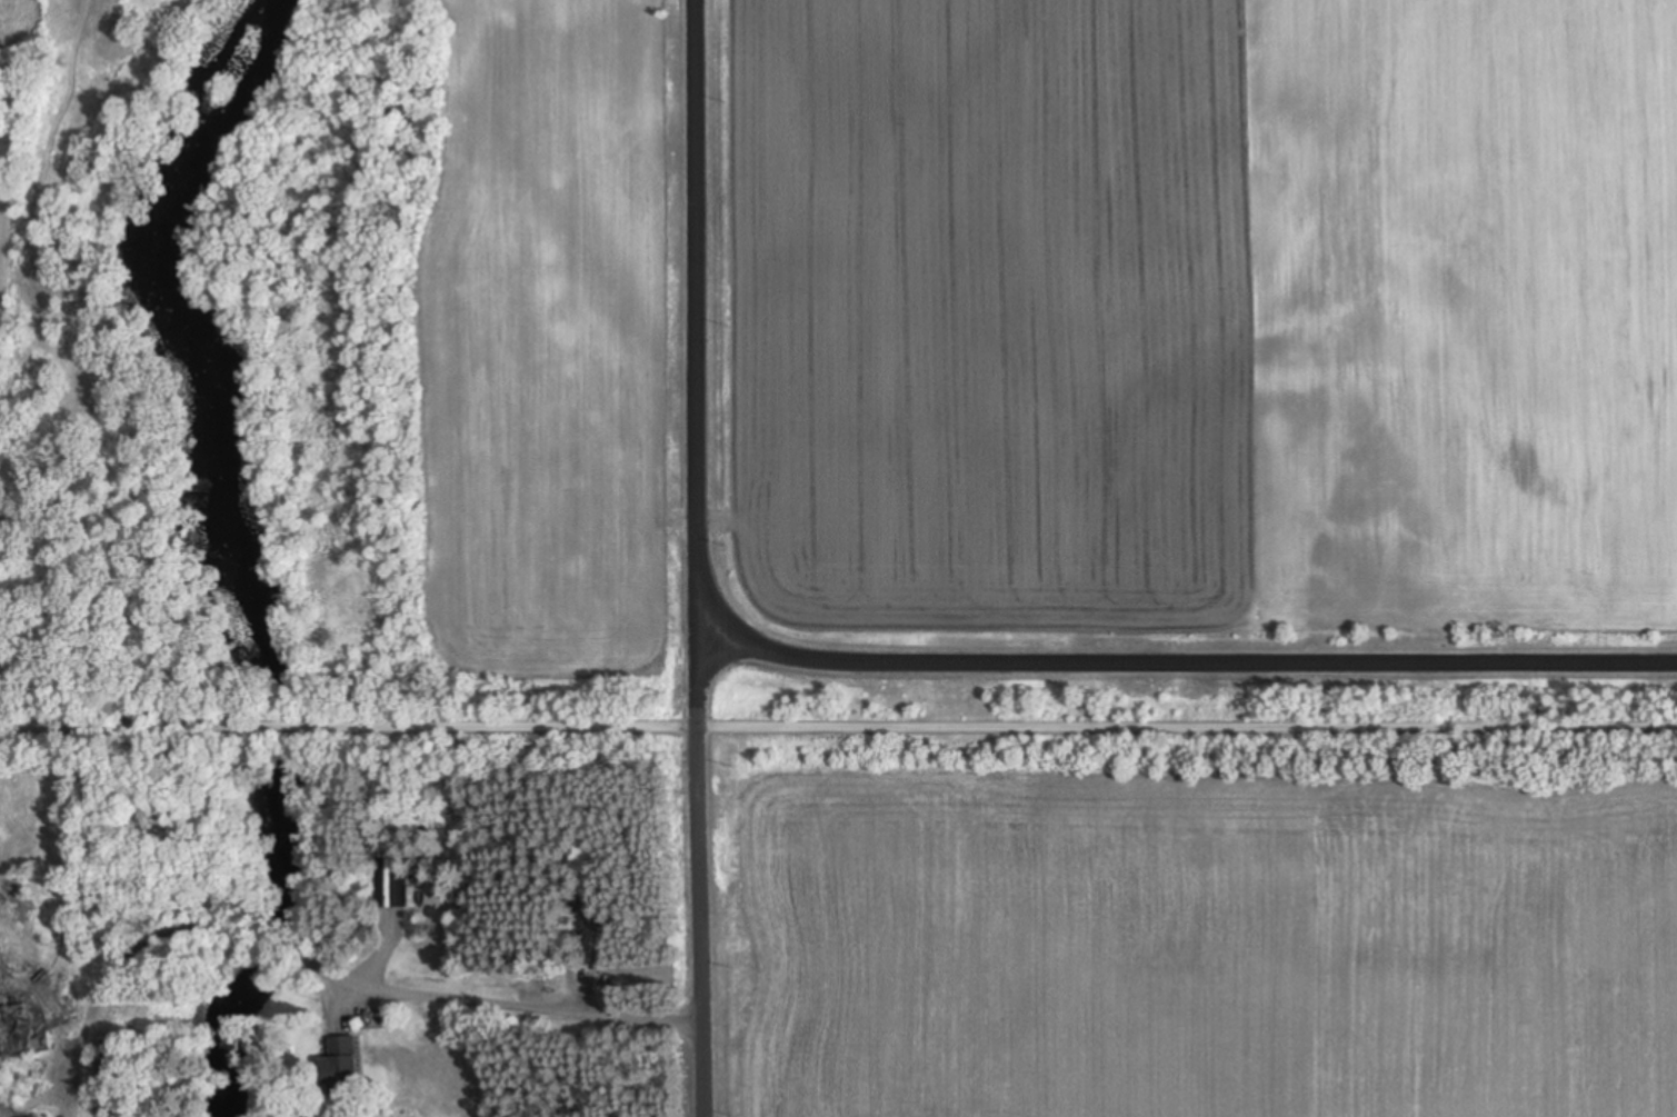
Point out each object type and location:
road: (699, 558)
road: (1166, 662)
road: (132, 726)
road: (277, 727)
road: (982, 727)
building: (390, 882)
road: (325, 965)
building: (11, 1031)
building: (339, 1067)

